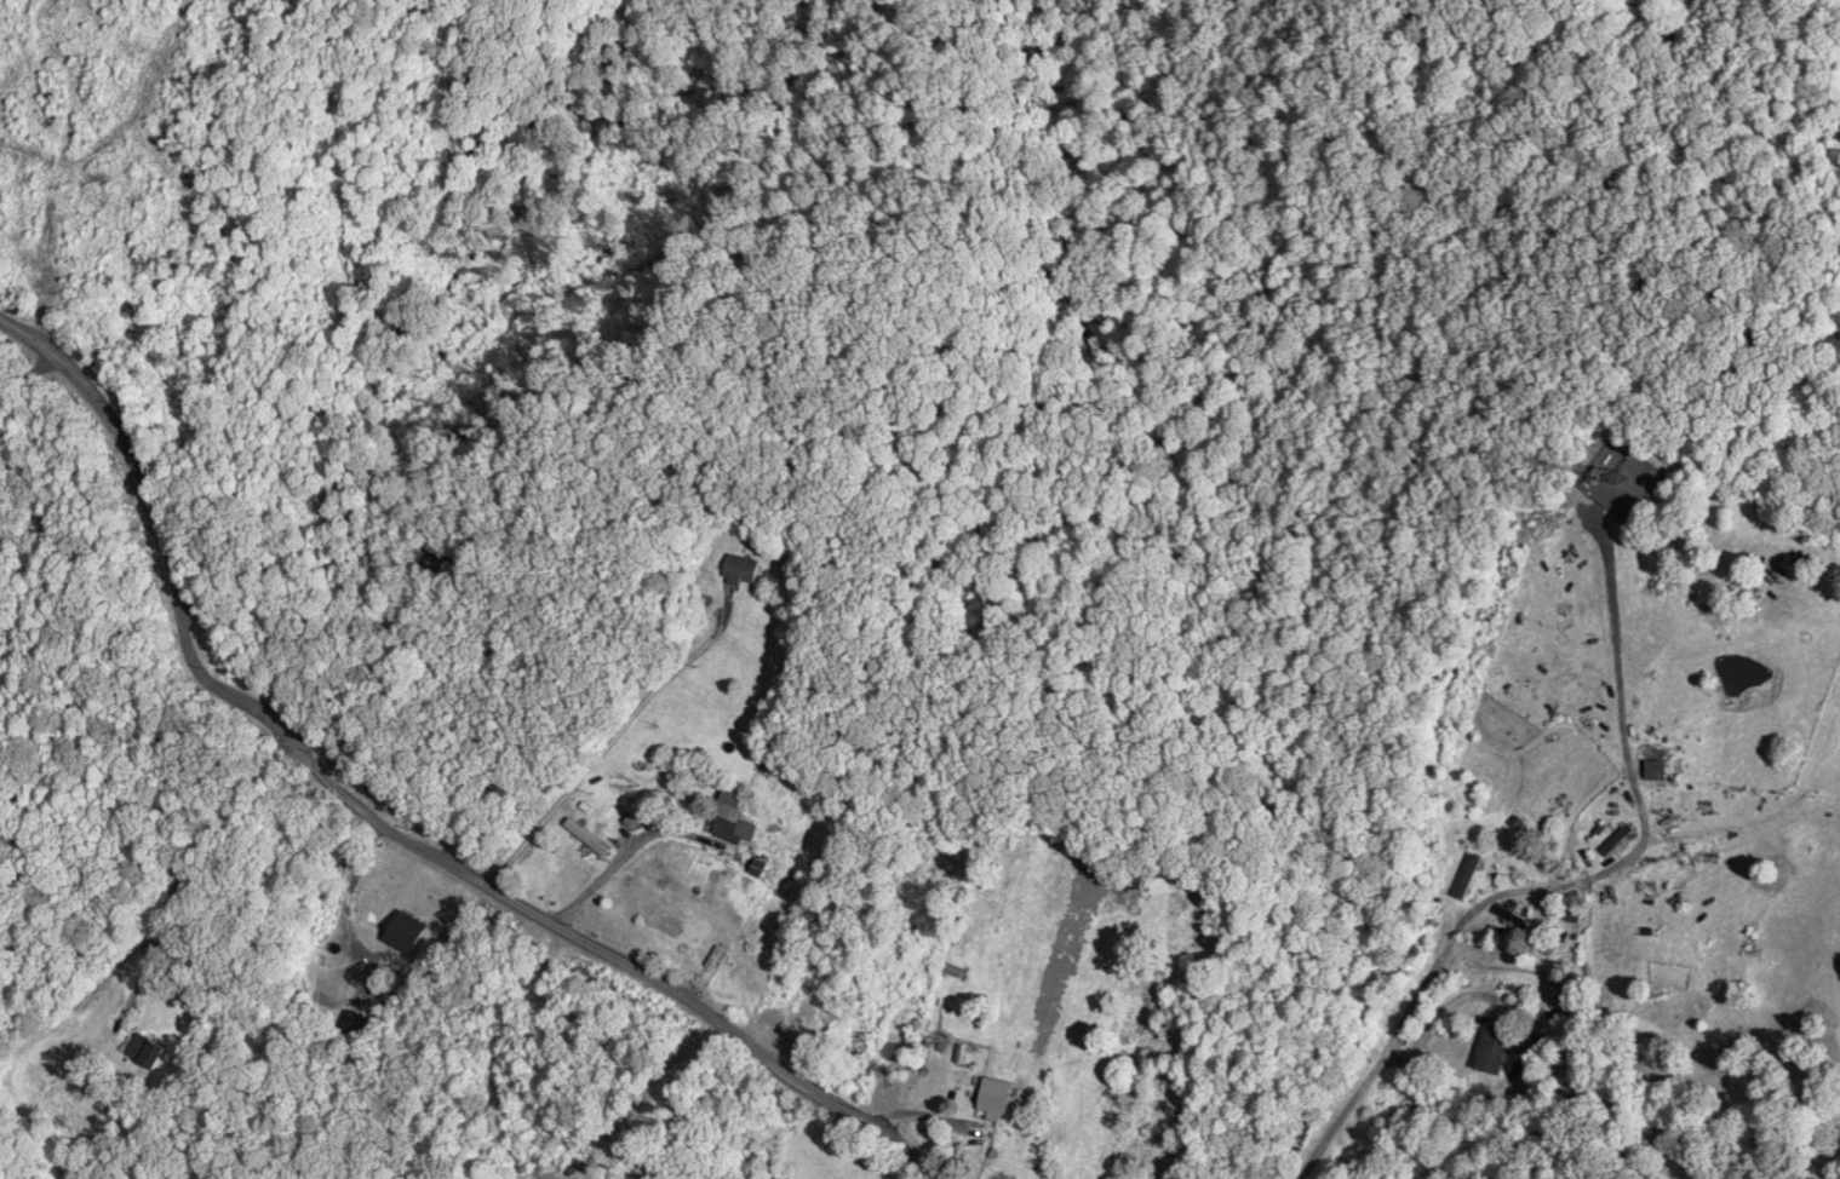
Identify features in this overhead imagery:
road: (30, 373)
building: (736, 571)
building: (1651, 772)
building: (723, 817)
road: (378, 822)
building: (583, 839)
building: (1613, 840)
building: (1464, 878)
road: (1581, 879)
building: (401, 933)
building: (317, 961)
road: (126, 965)
building: (1560, 1007)
building: (1489, 1052)
building: (142, 1053)
building: (991, 1098)

